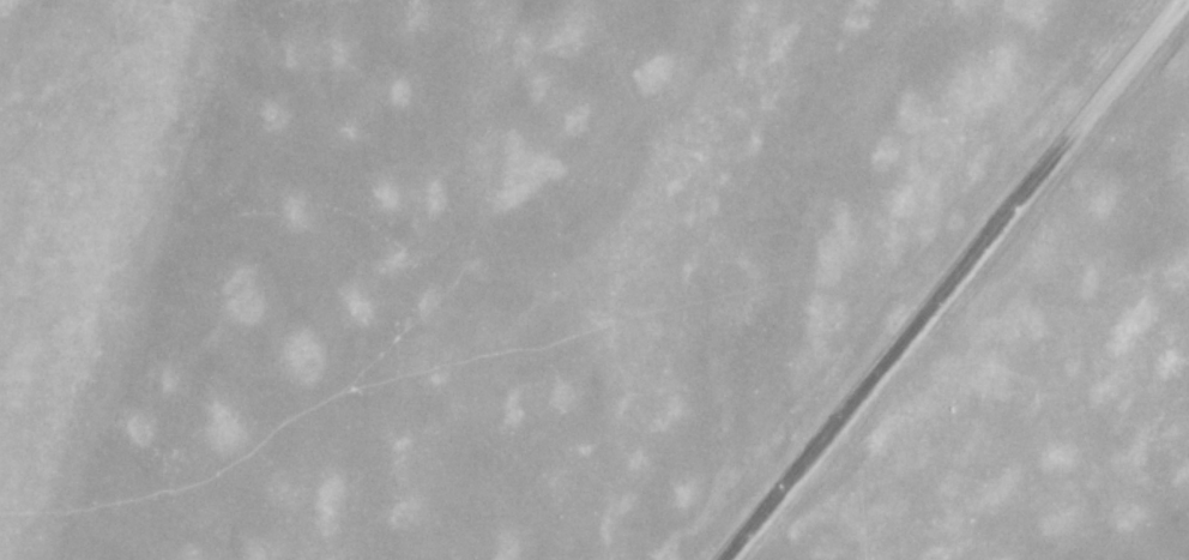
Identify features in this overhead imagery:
road: (916, 279)

